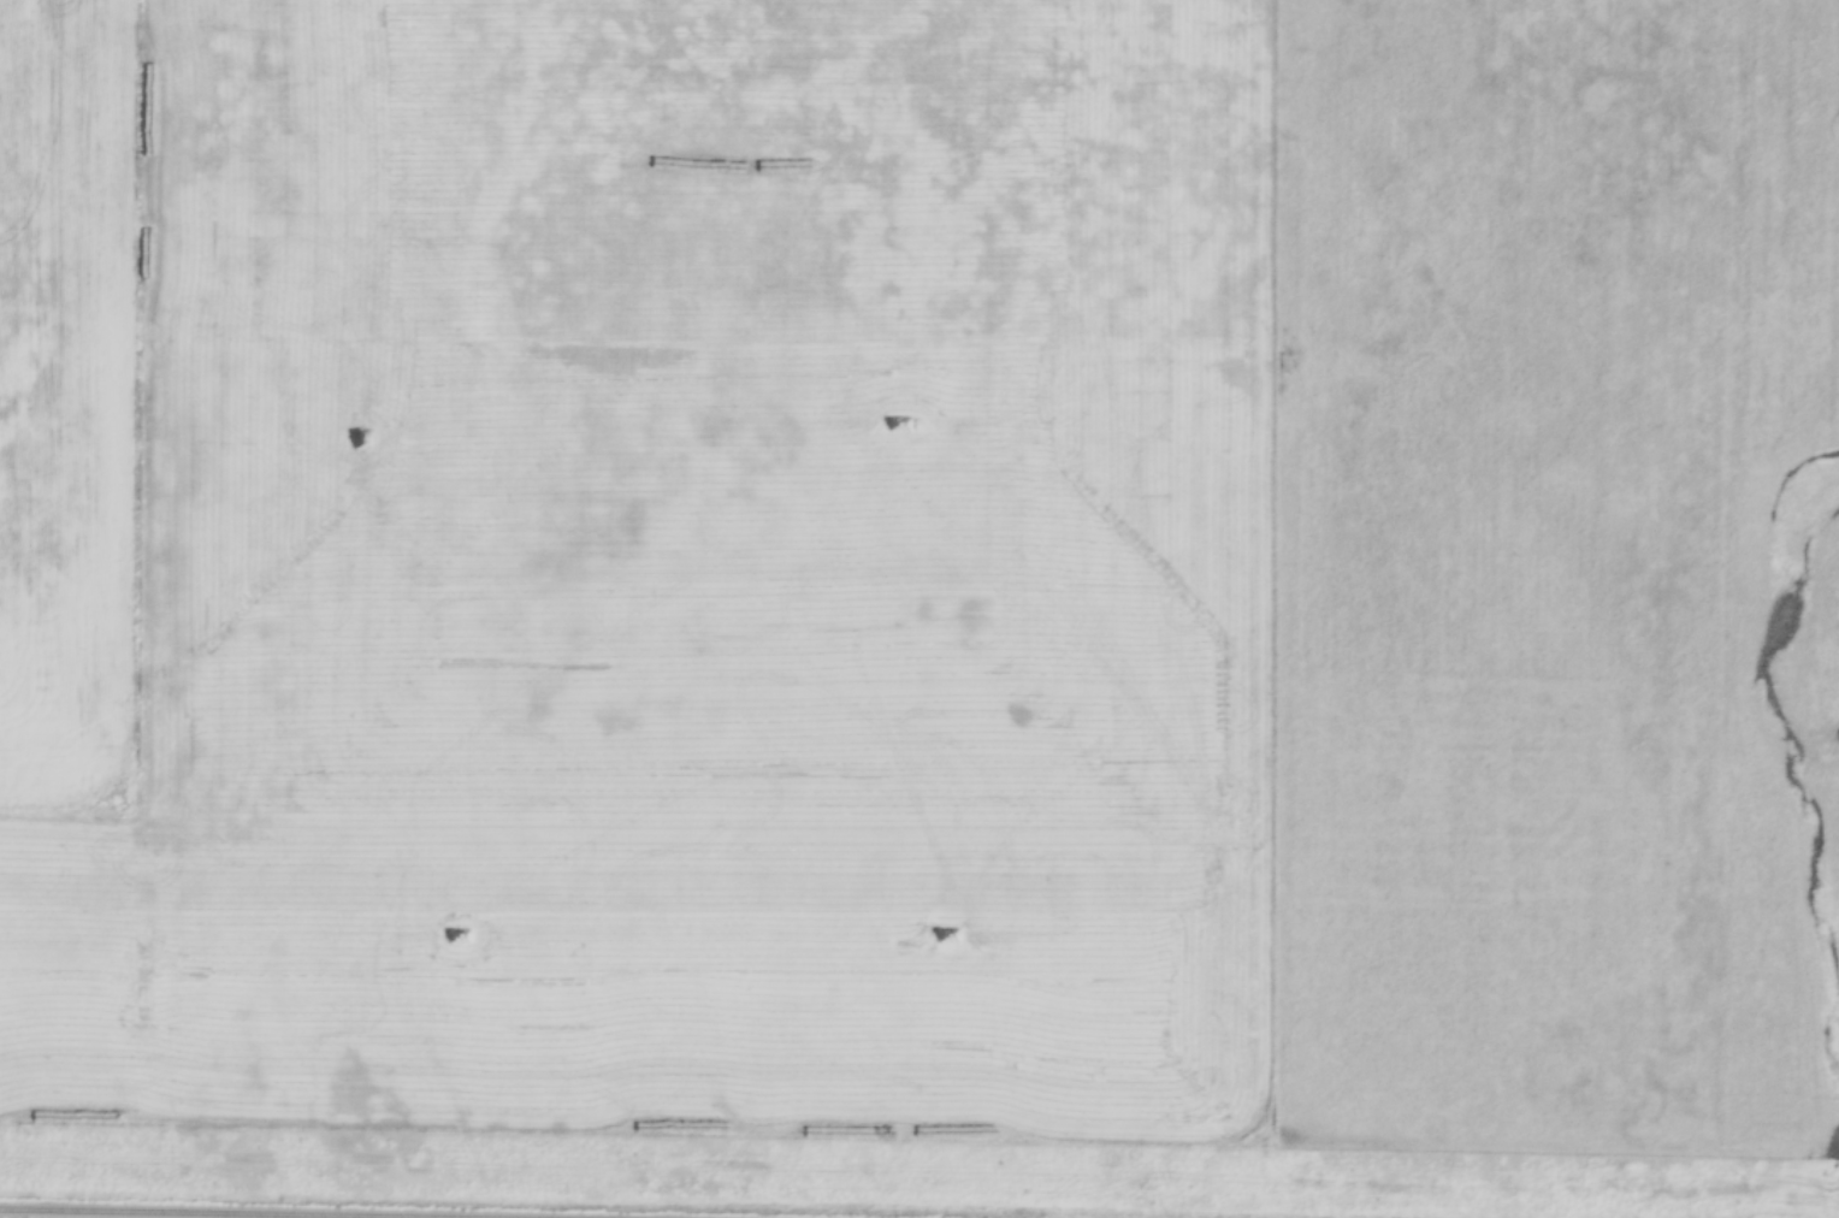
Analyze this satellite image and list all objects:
railway: (187, 1214)

